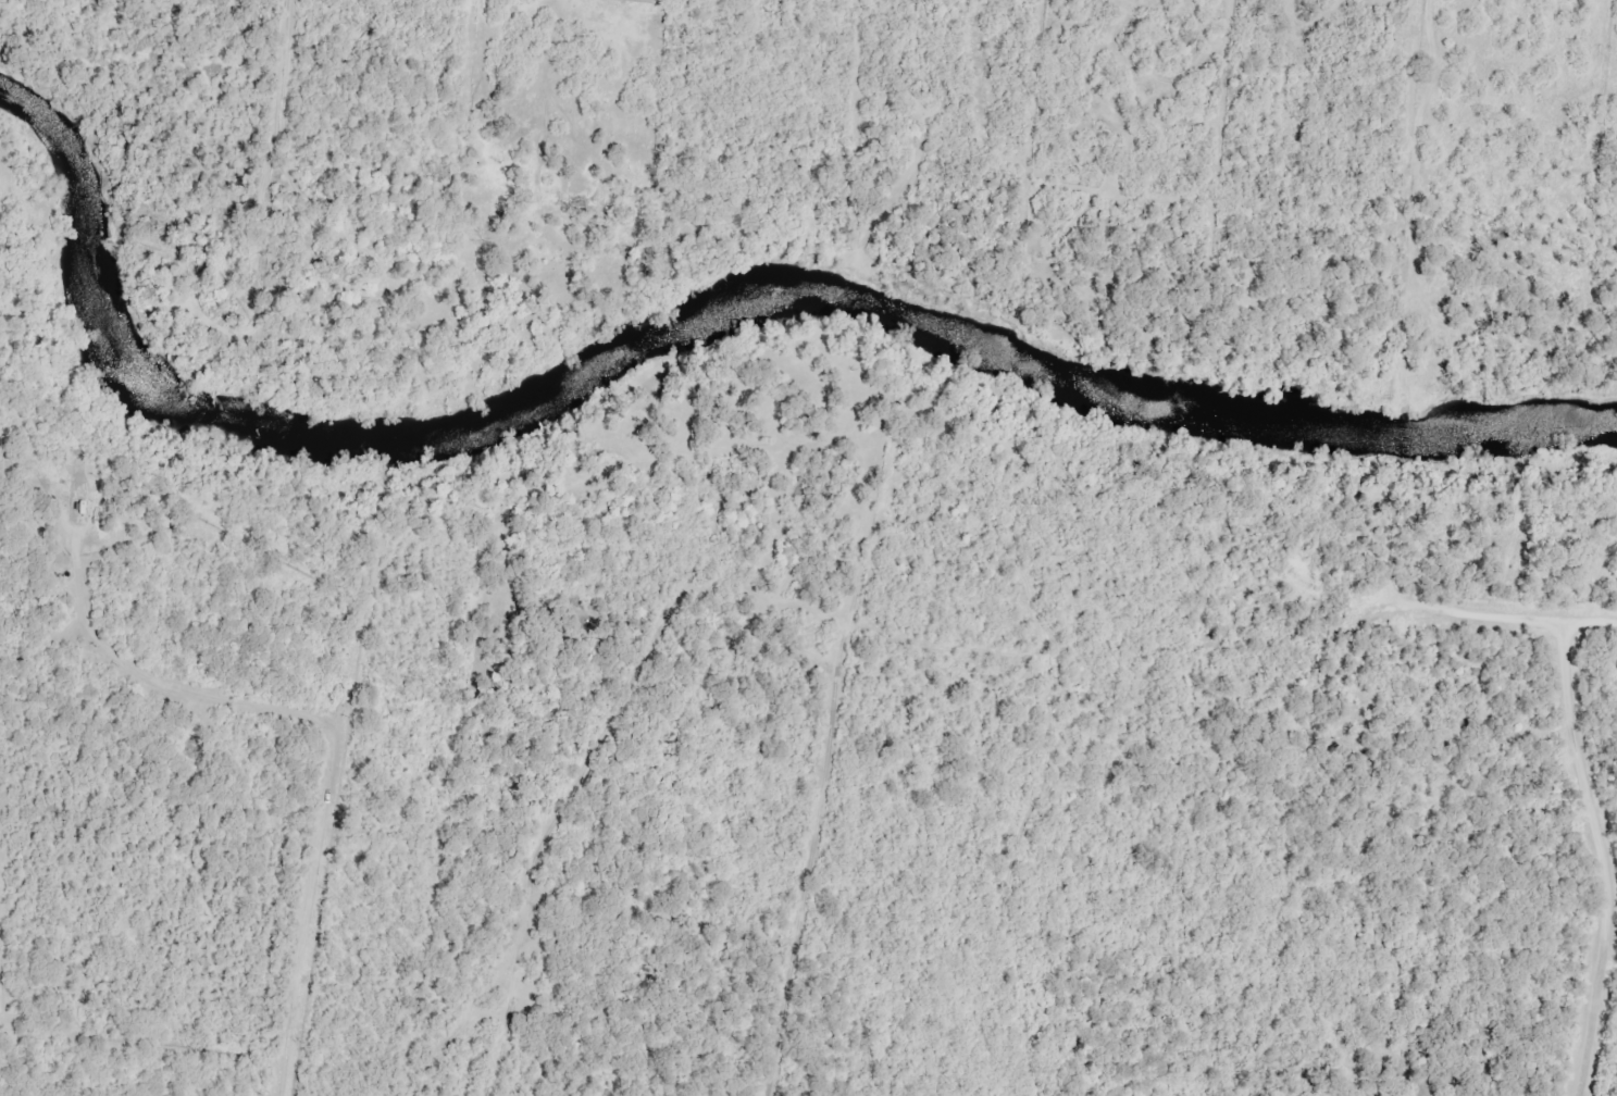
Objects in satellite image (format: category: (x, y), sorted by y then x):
river: (709, 314)
road: (1498, 618)
road: (1602, 858)

